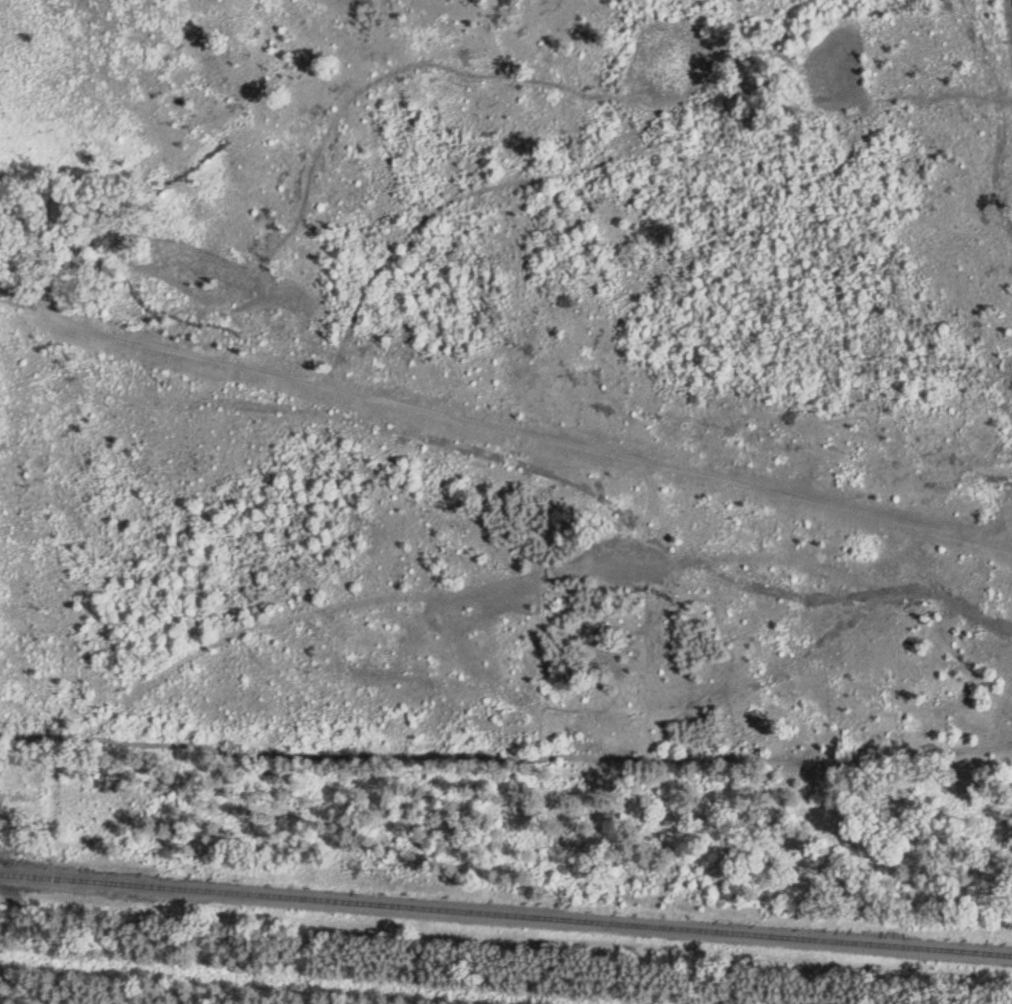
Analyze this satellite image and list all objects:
road: (506, 739)
railway: (506, 916)
road: (21, 982)

